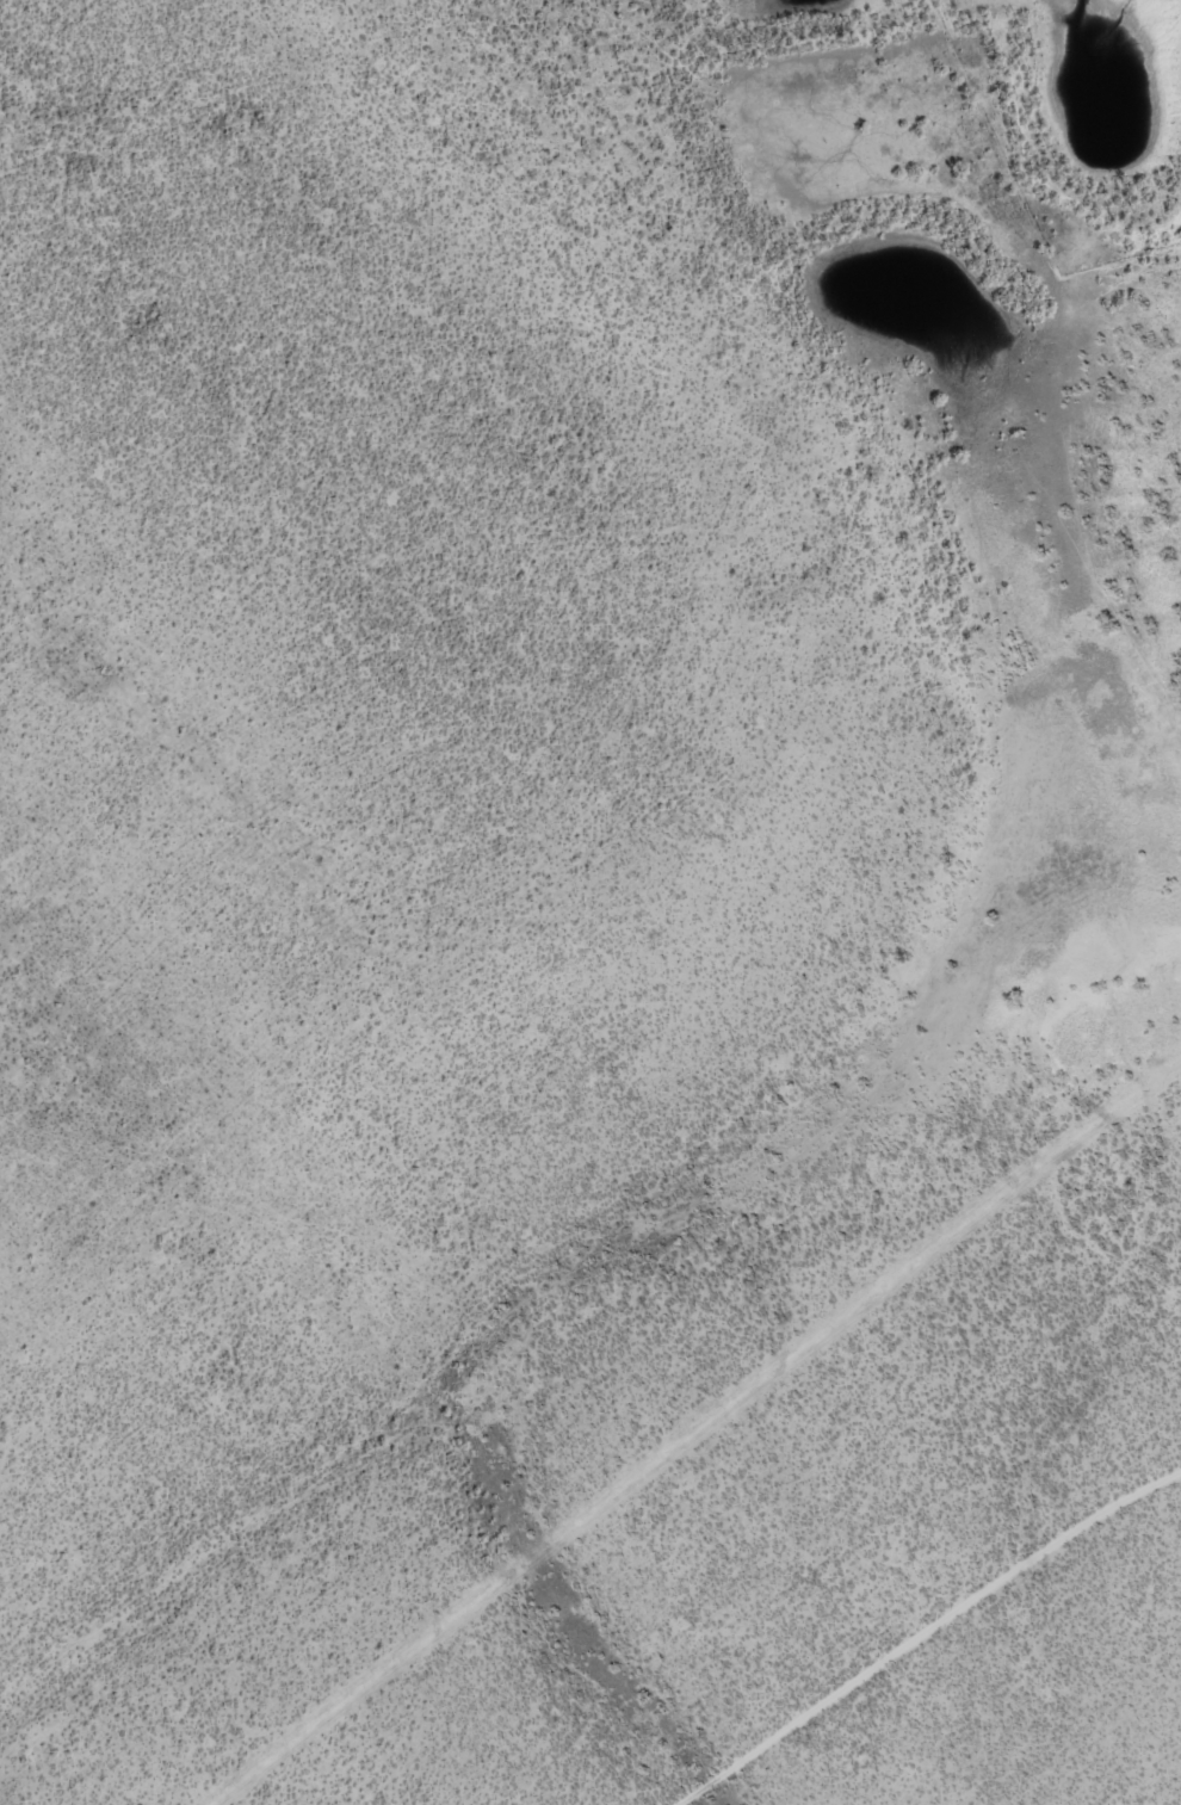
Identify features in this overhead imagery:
road: (932, 921)
road: (927, 1634)

